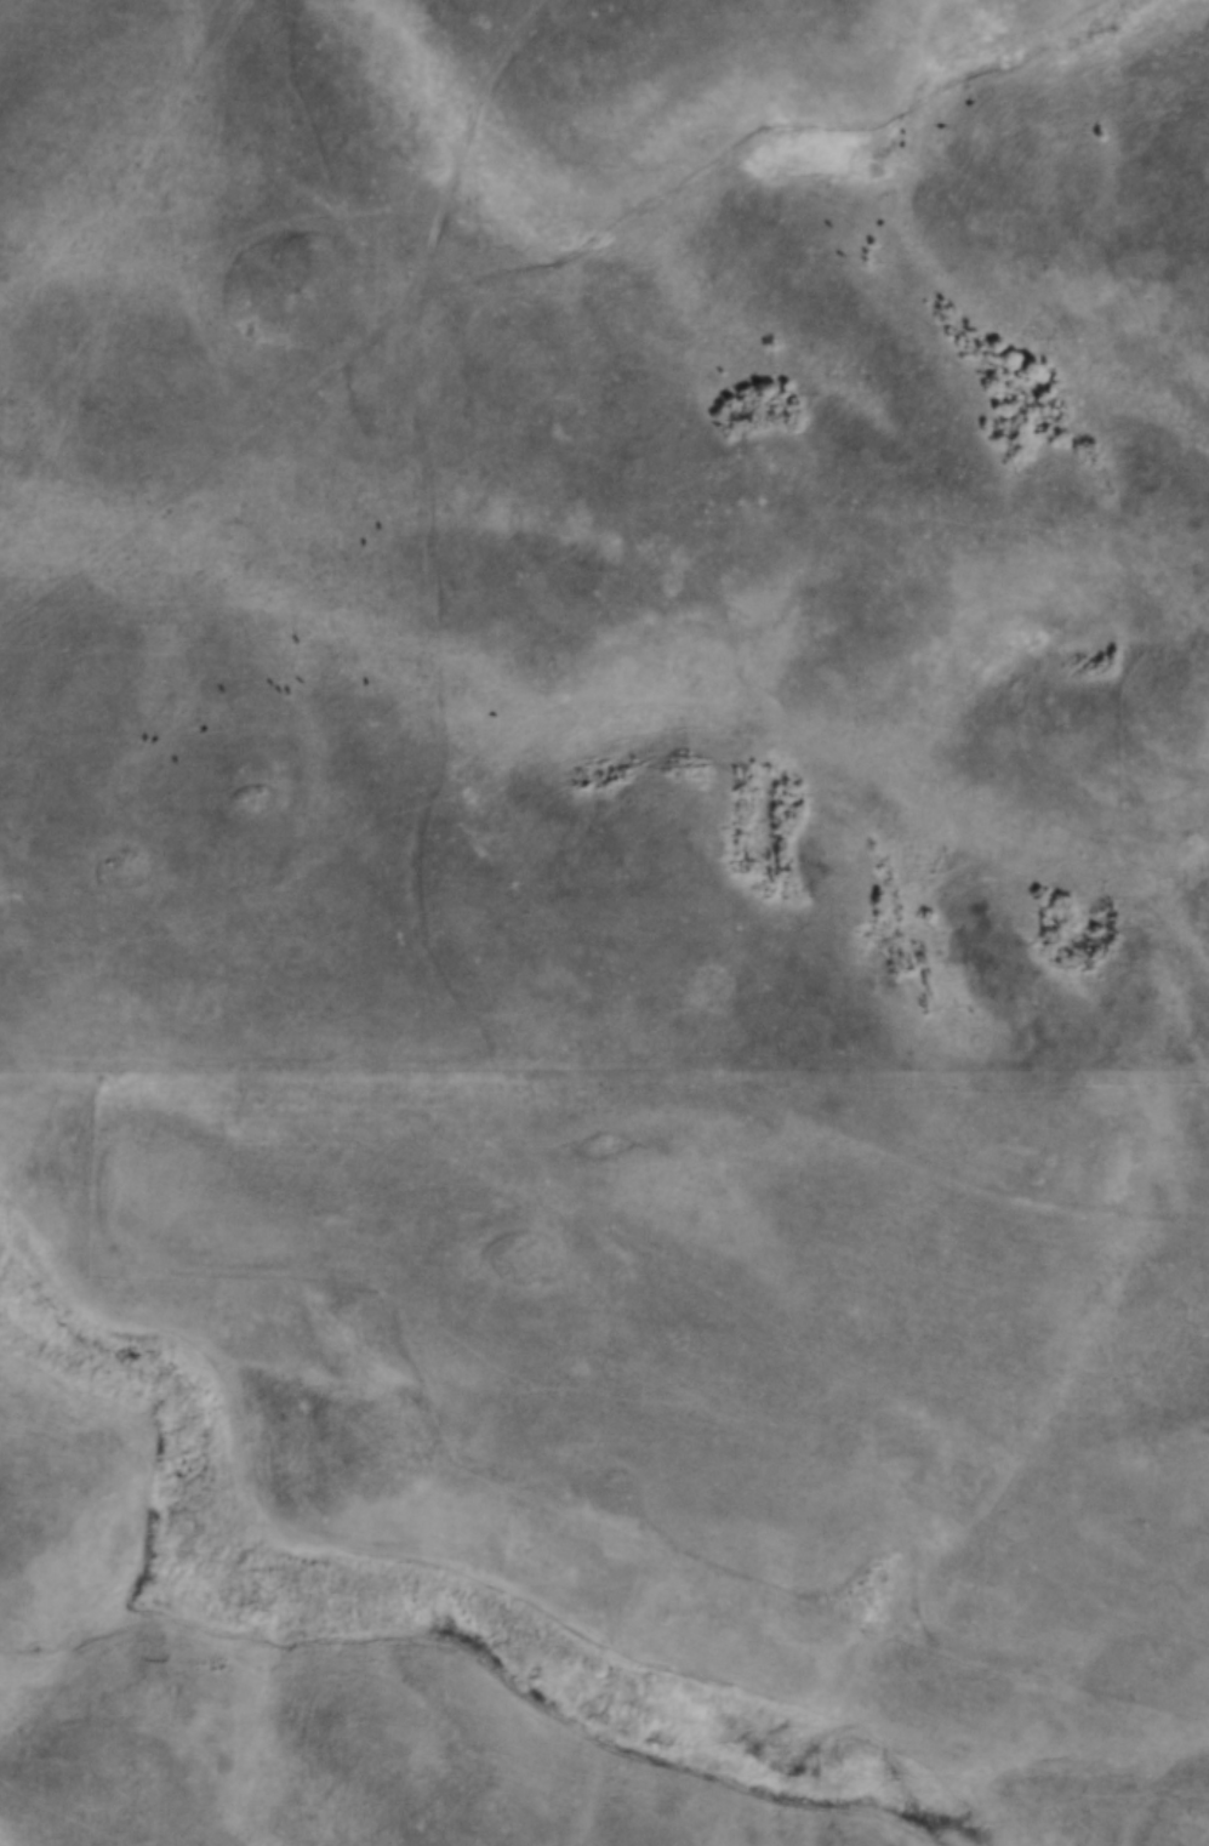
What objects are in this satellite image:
road: (437, 631)

